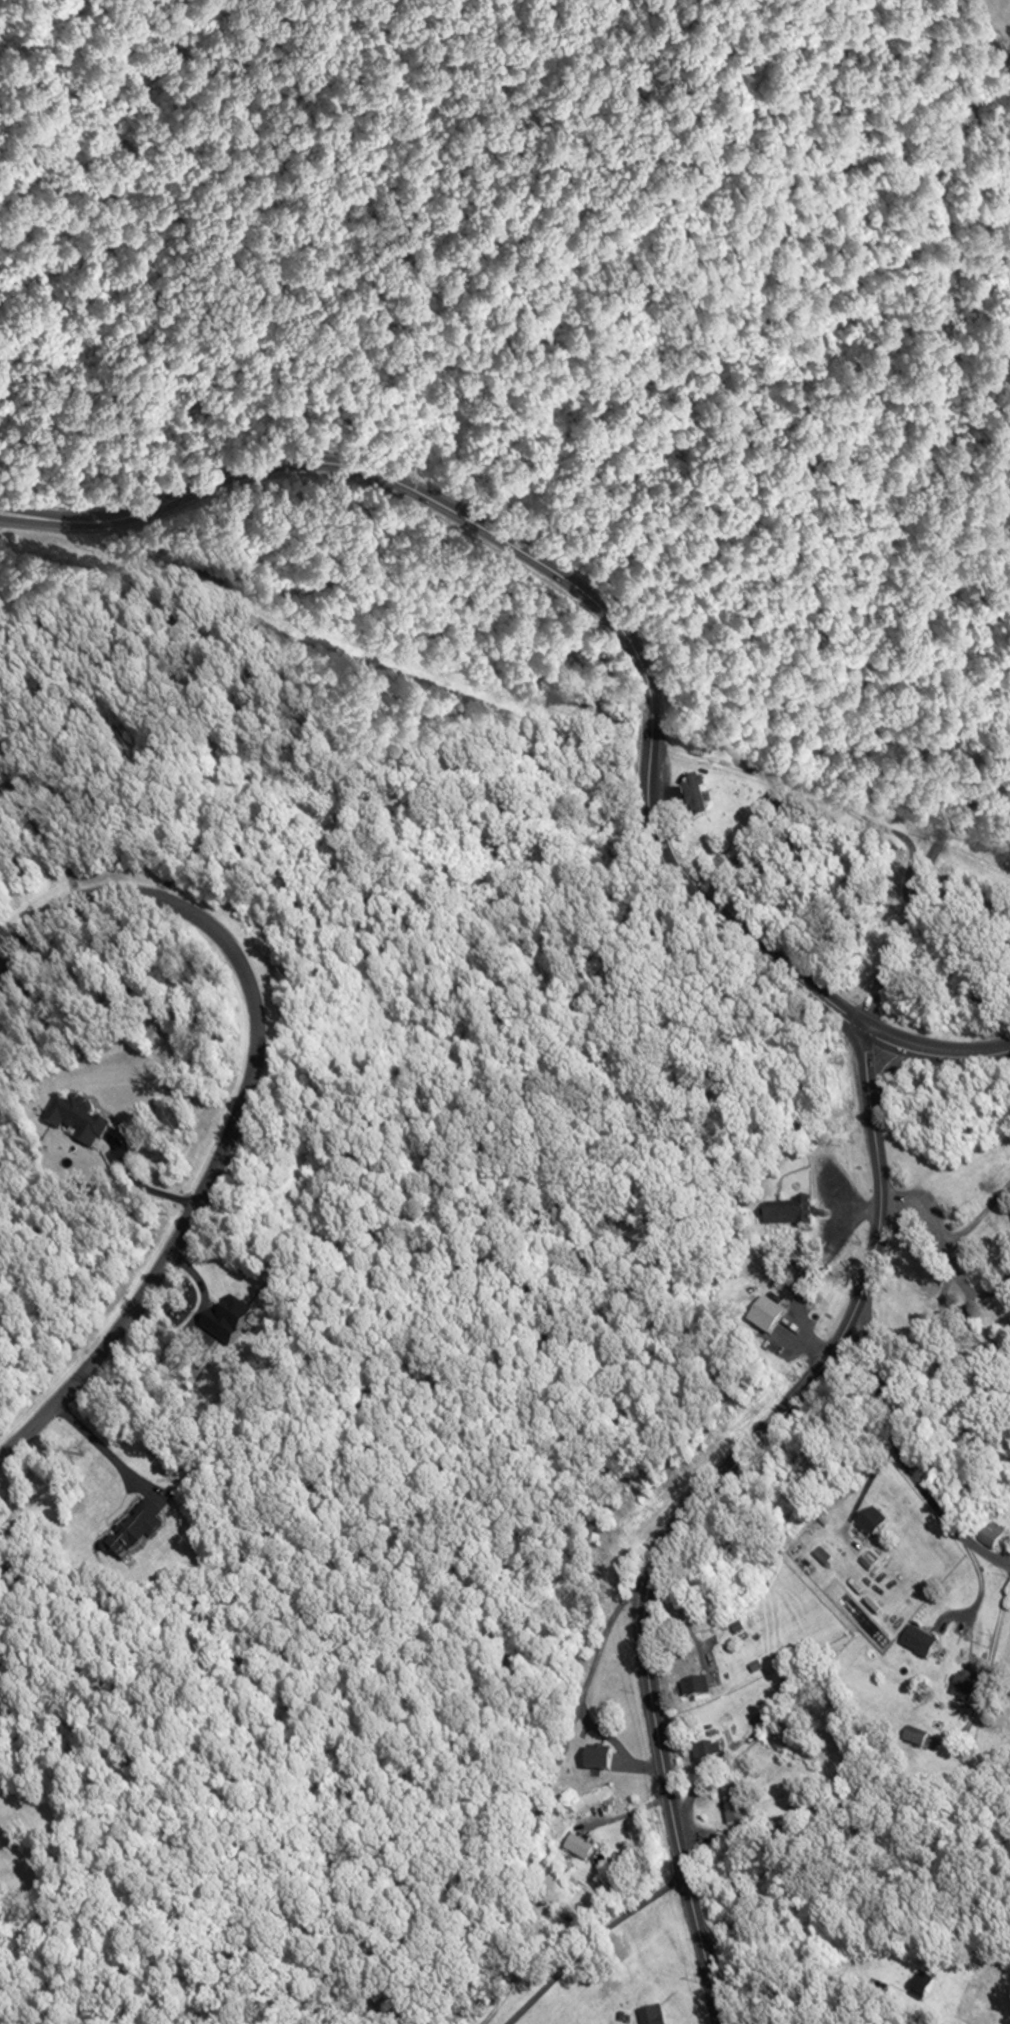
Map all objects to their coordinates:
road: (613, 618)
building: (692, 797)
road: (917, 884)
road: (892, 1069)
road: (245, 1099)
building: (75, 1123)
road: (143, 1186)
road: (919, 1209)
road: (980, 1215)
building: (787, 1216)
road: (966, 1278)
building: (763, 1319)
road: (105, 1447)
road: (902, 1455)
road: (691, 1507)
building: (868, 1526)
building: (133, 1532)
building: (989, 1539)
building: (916, 1643)
building: (691, 1687)
building: (912, 1737)
building: (704, 1752)
building: (594, 1760)
building: (730, 1805)
road: (461, 1835)
building: (575, 1847)
building: (736, 1893)
road: (813, 1976)
building: (917, 1987)
building: (648, 2016)

